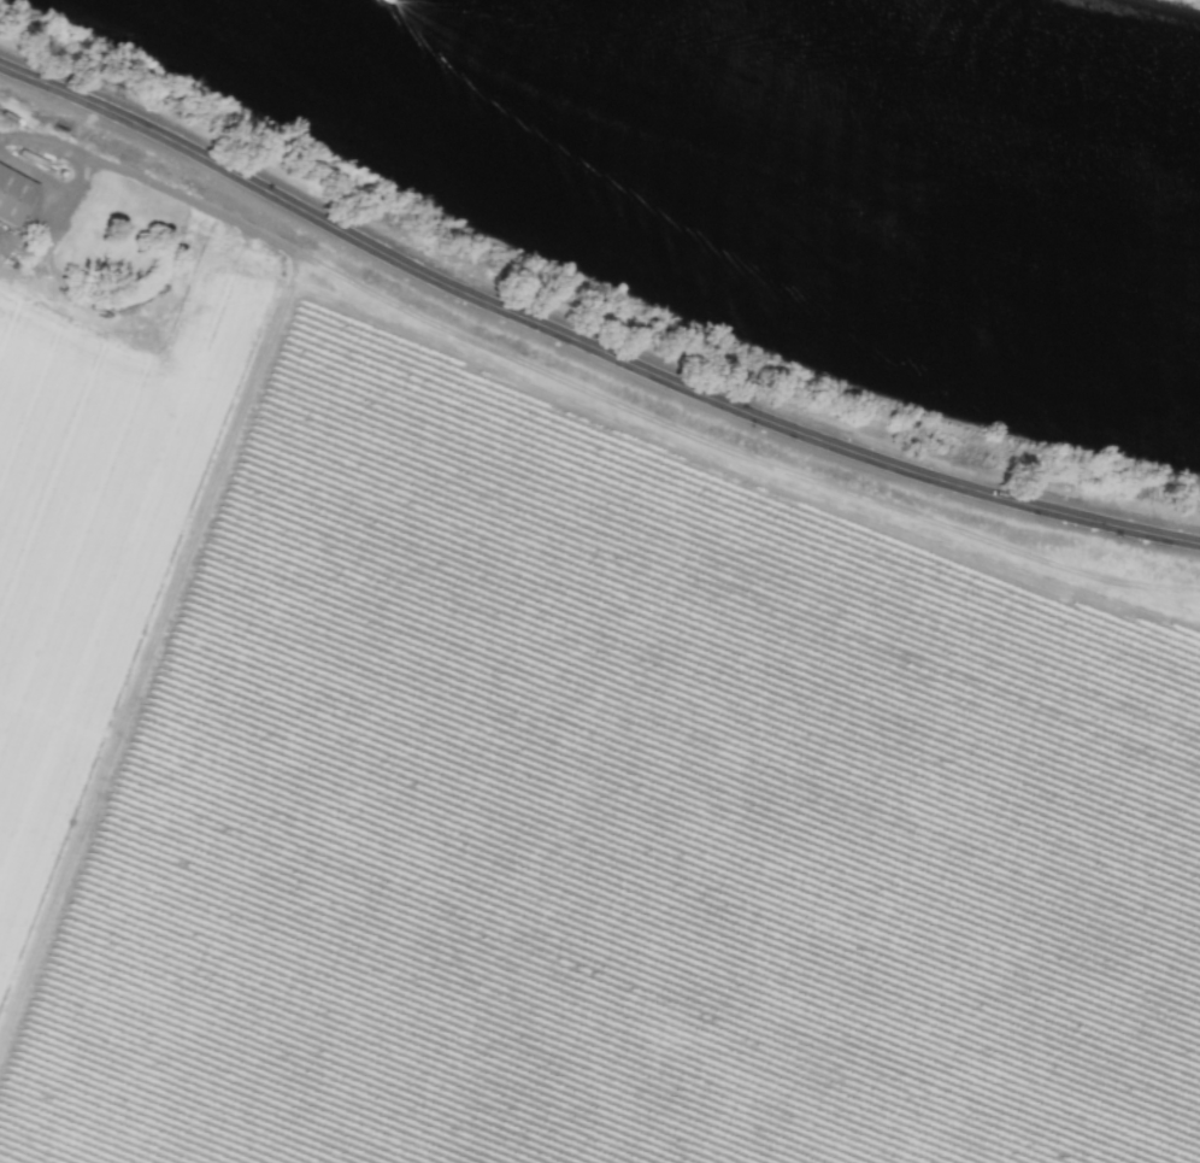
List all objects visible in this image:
river: (841, 168)
road: (81, 172)
building: (13, 194)
road: (584, 342)

